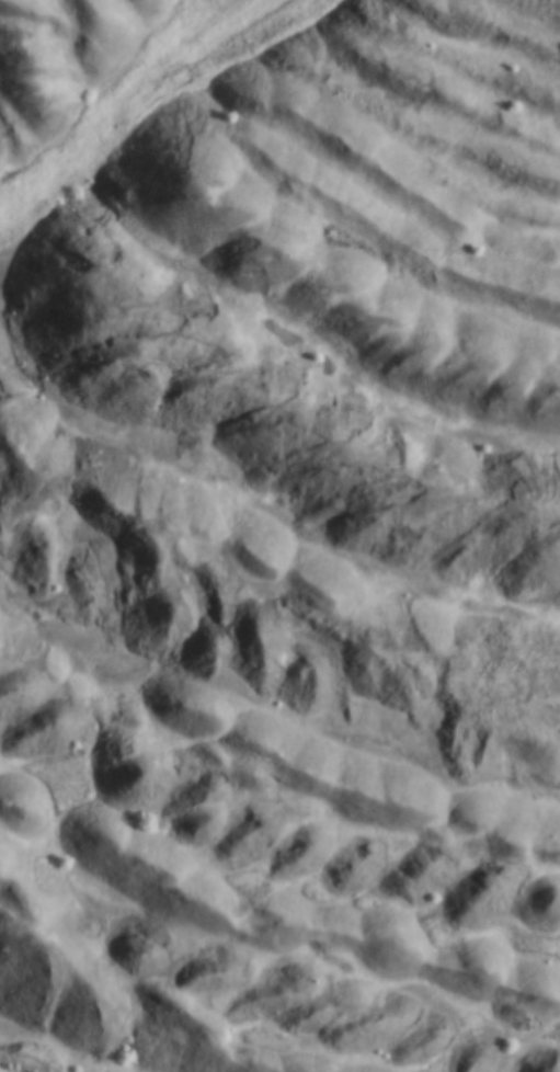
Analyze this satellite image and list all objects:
road: (132, 109)
quarry: (279, 536)

